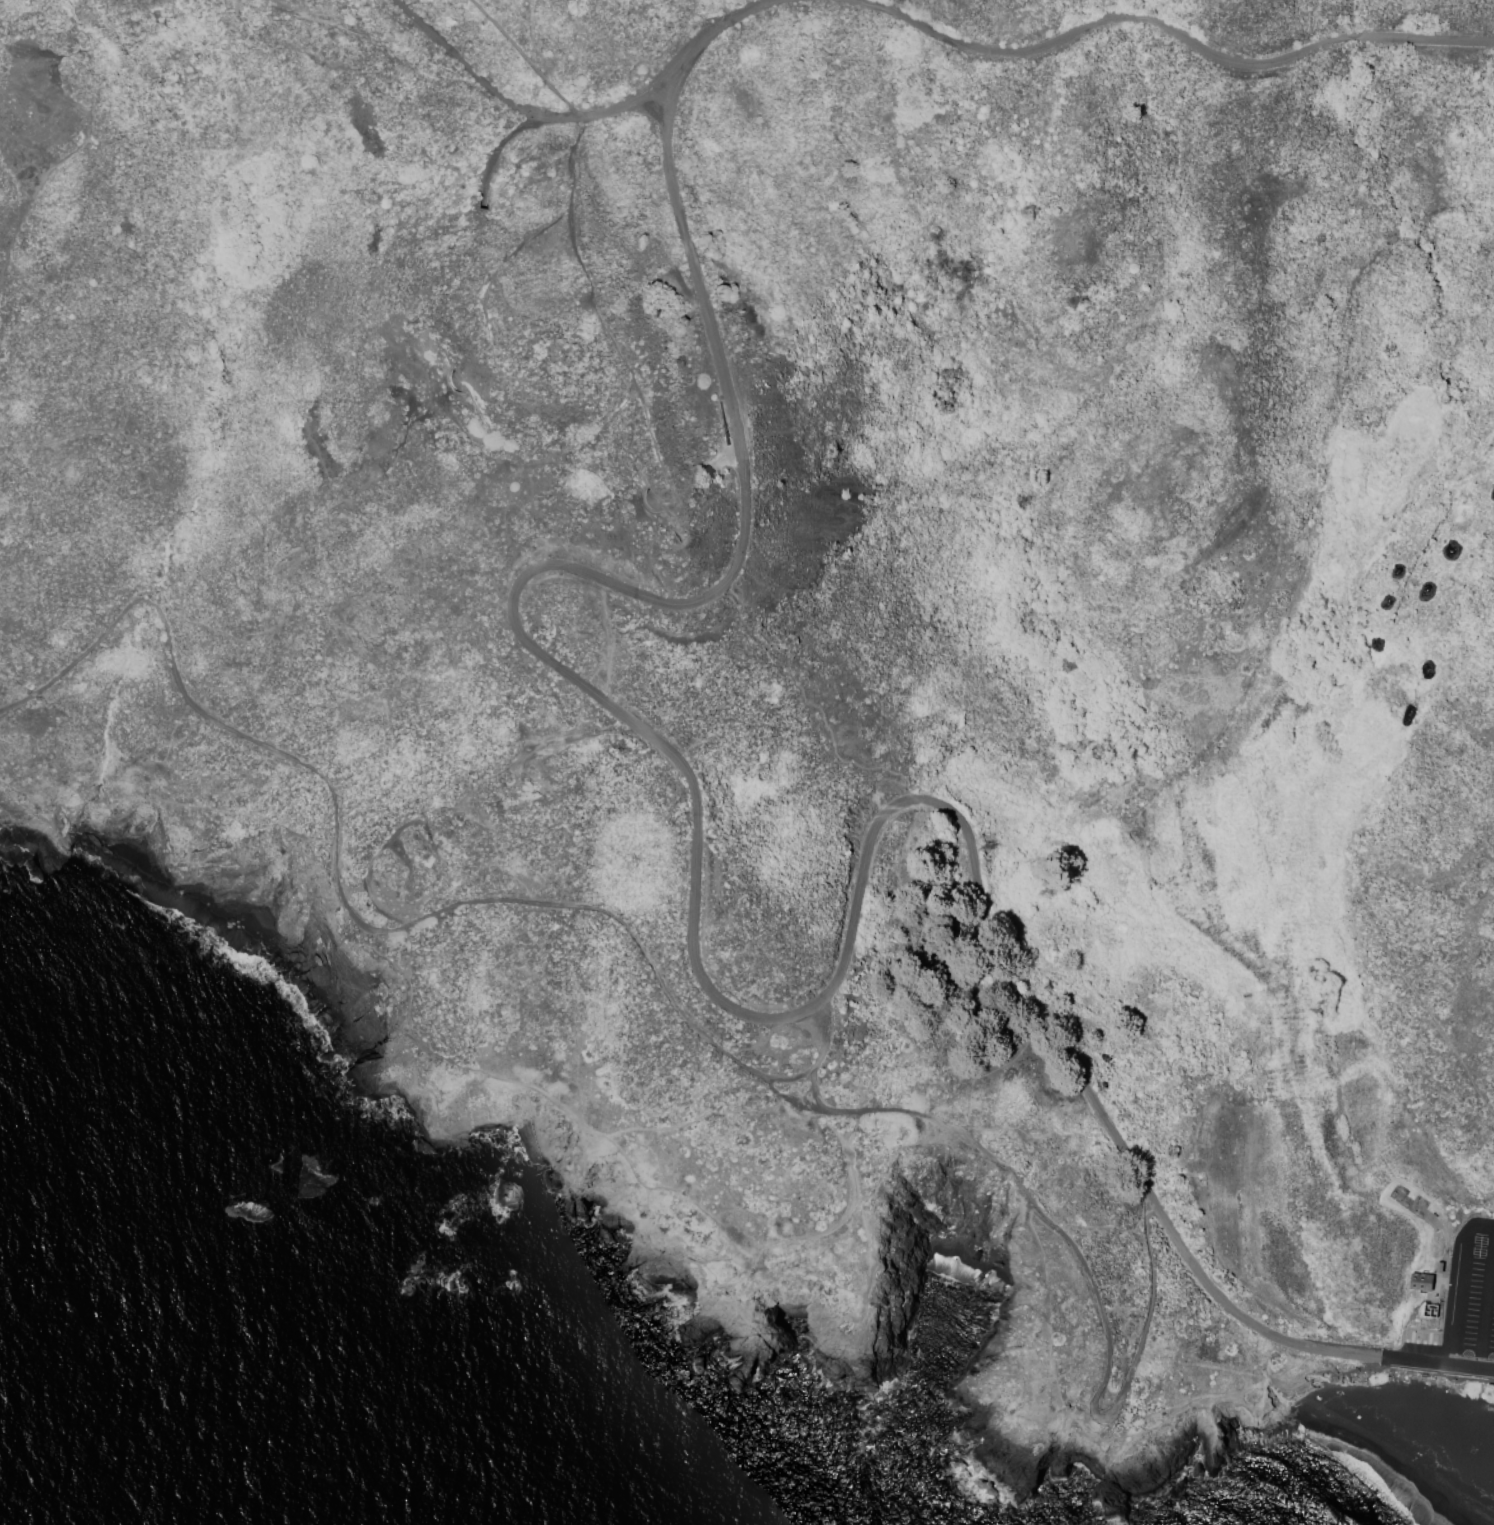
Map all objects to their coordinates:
road: (707, 38)
road: (990, 52)
road: (1303, 52)
road: (532, 58)
road: (482, 78)
road: (622, 108)
road: (493, 152)
road: (722, 457)
road: (653, 499)
road: (583, 575)
road: (438, 808)
road: (346, 922)
road: (1032, 1014)
road: (625, 1154)
road: (1464, 1240)
road: (1089, 1269)
building: (1421, 1283)
parking lot: (1467, 1300)
road: (1487, 1305)
road: (1456, 1319)
road: (1416, 1361)
road: (1370, 1367)
road: (1473, 1368)
road: (1436, 1375)

